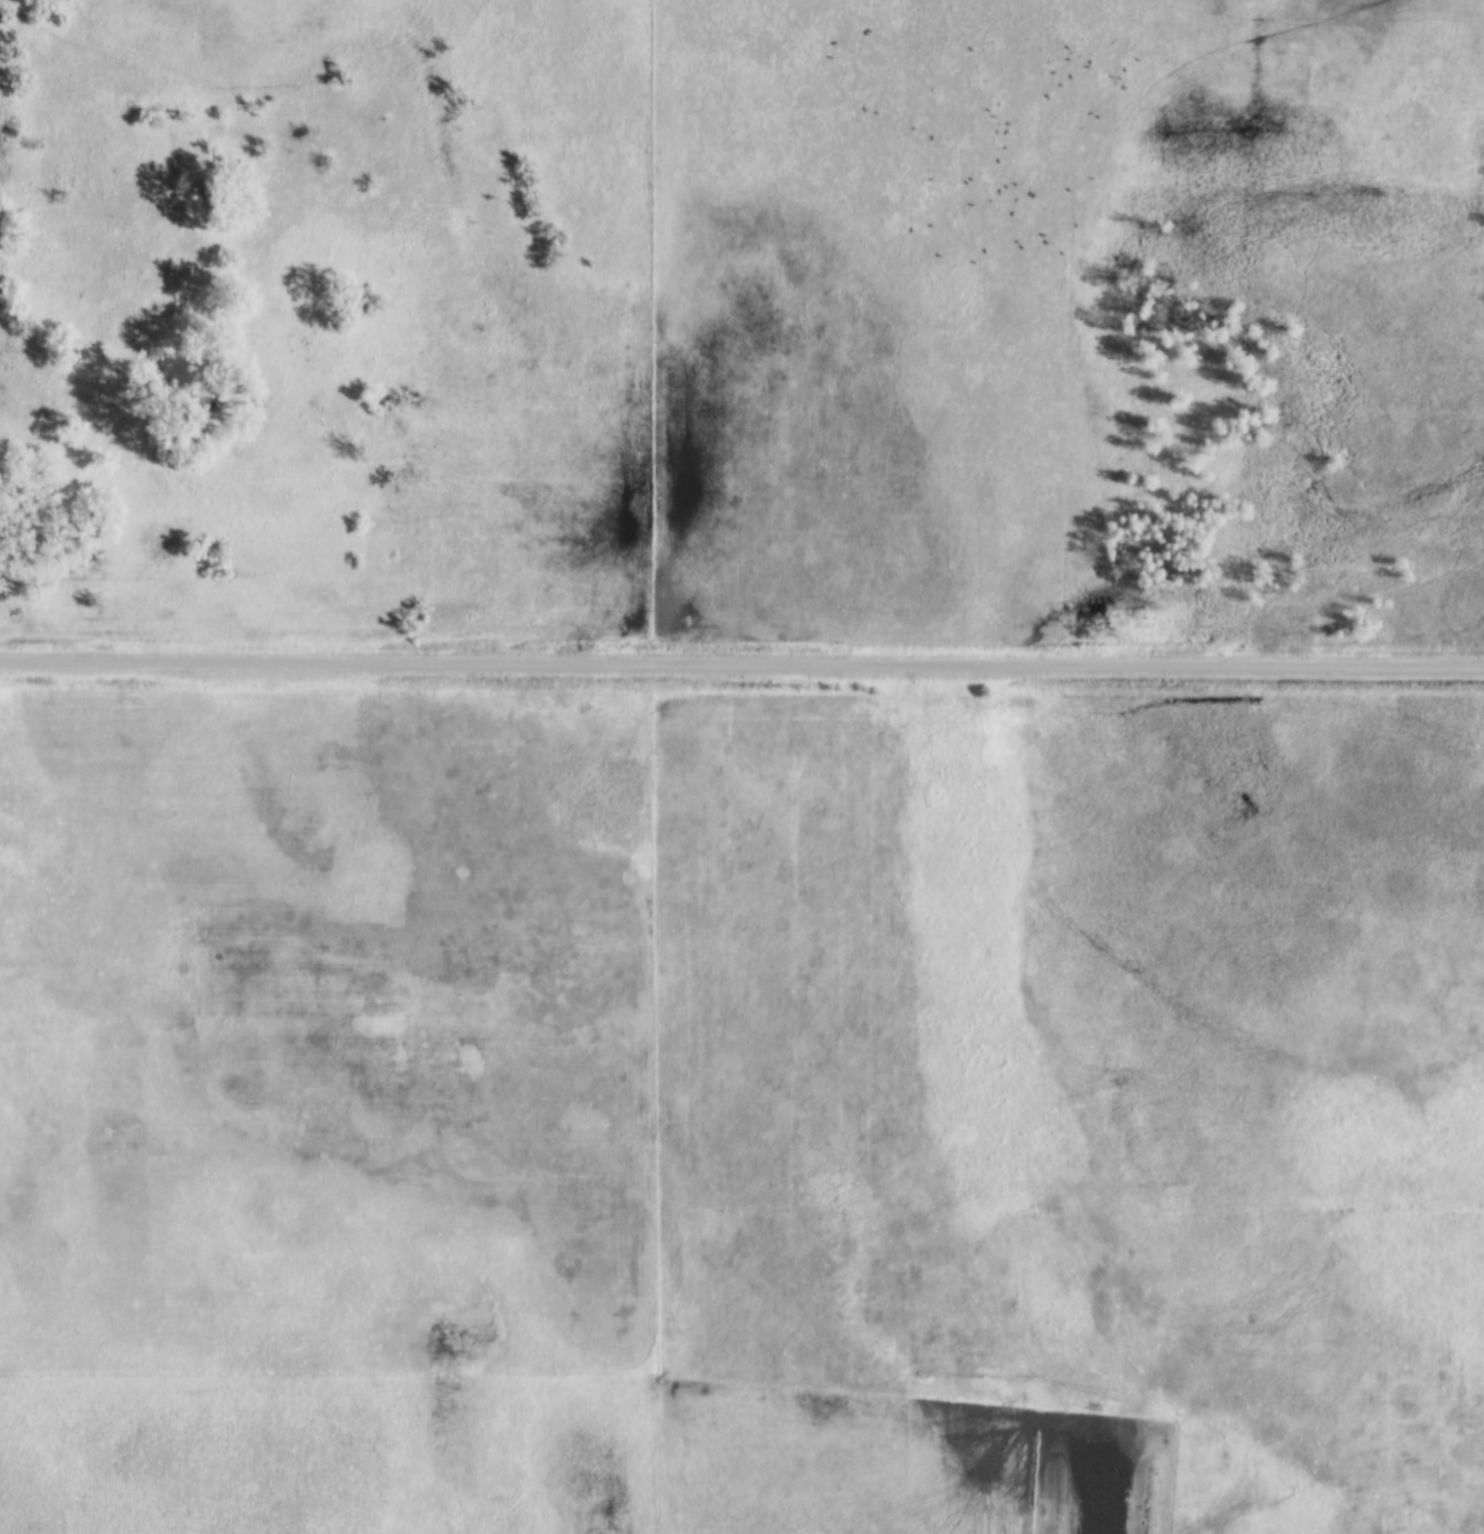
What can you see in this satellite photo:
road: (741, 667)

